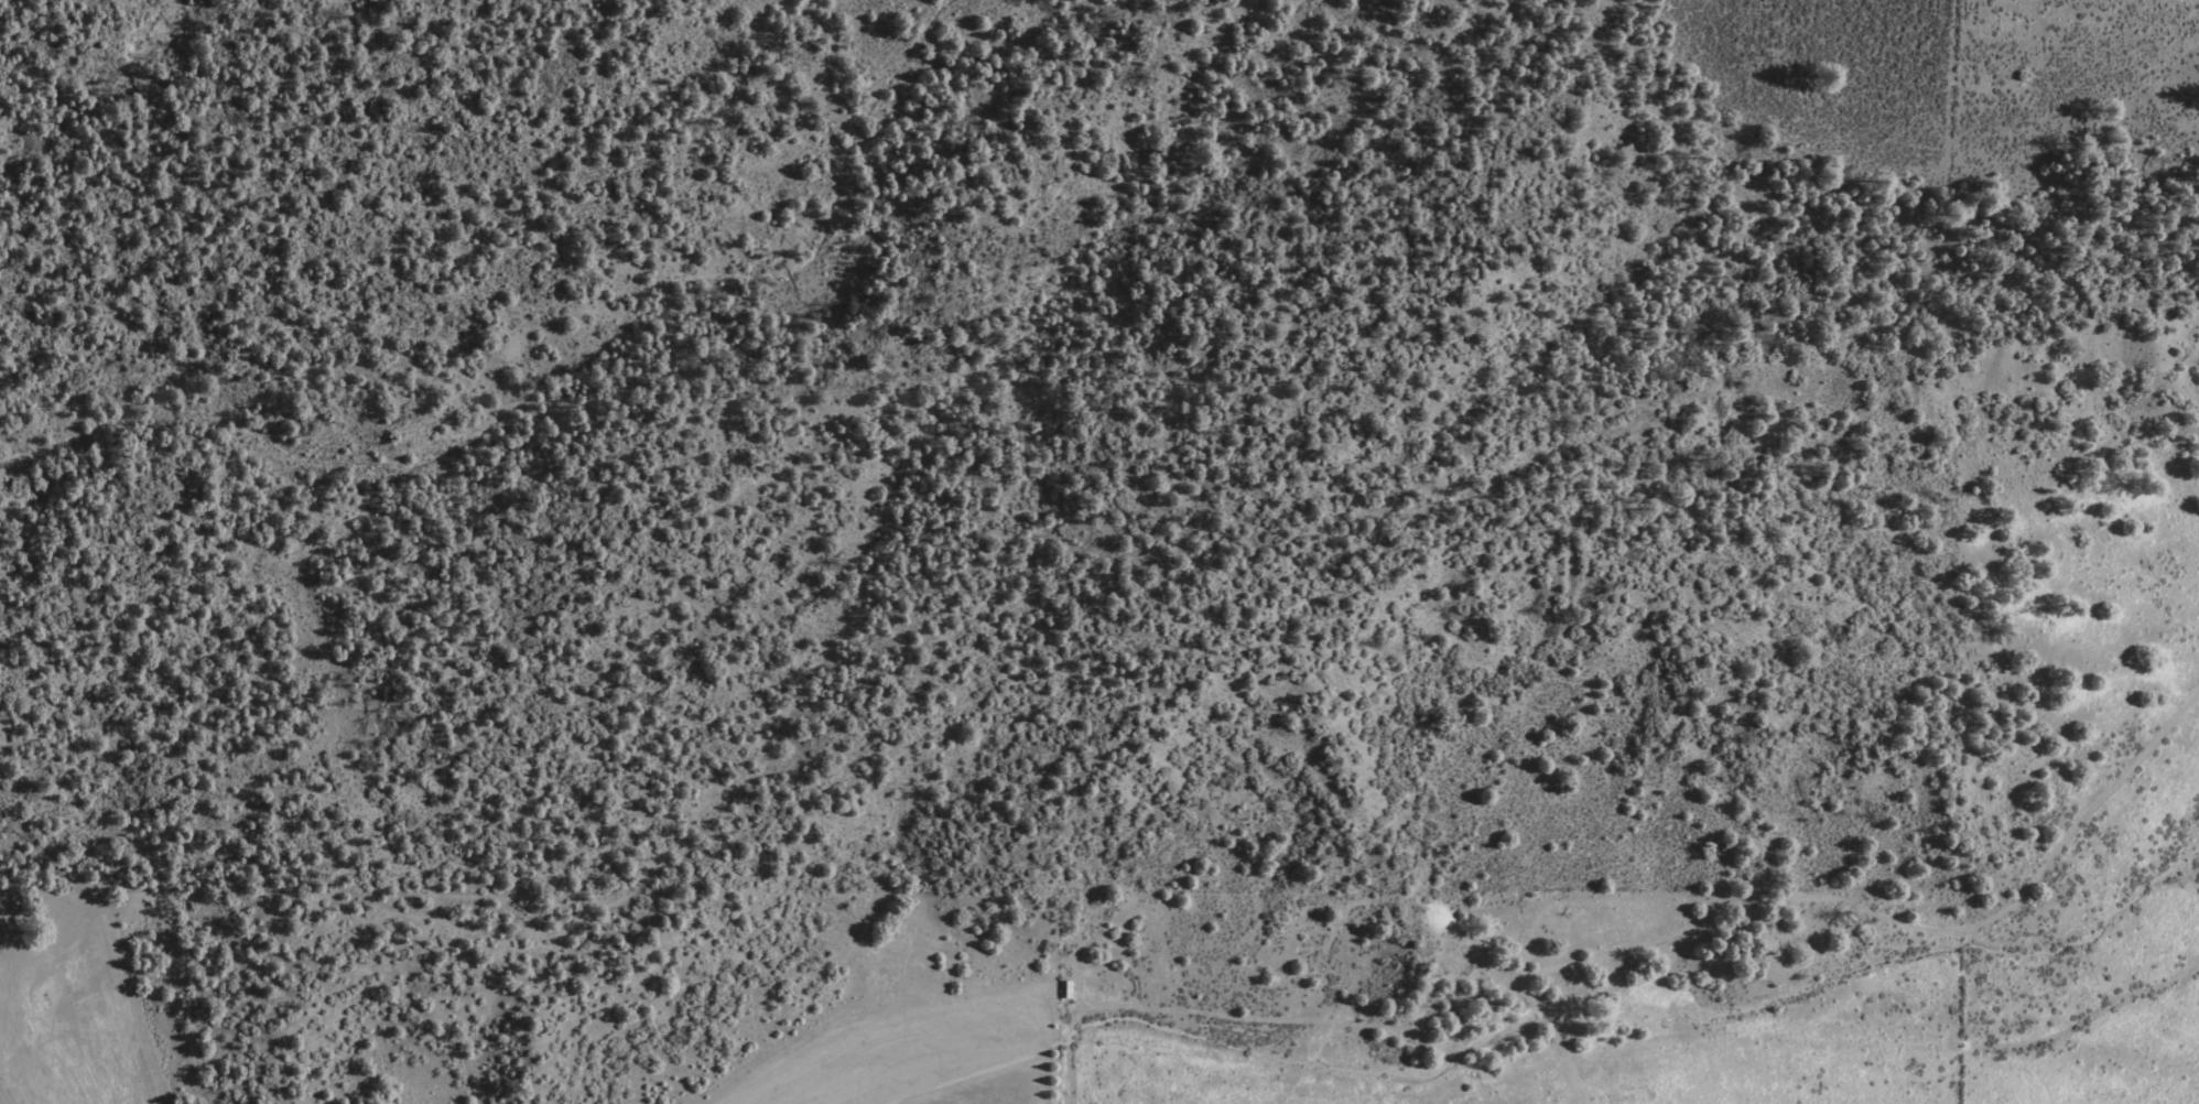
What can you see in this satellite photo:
road: (1835, 894)

